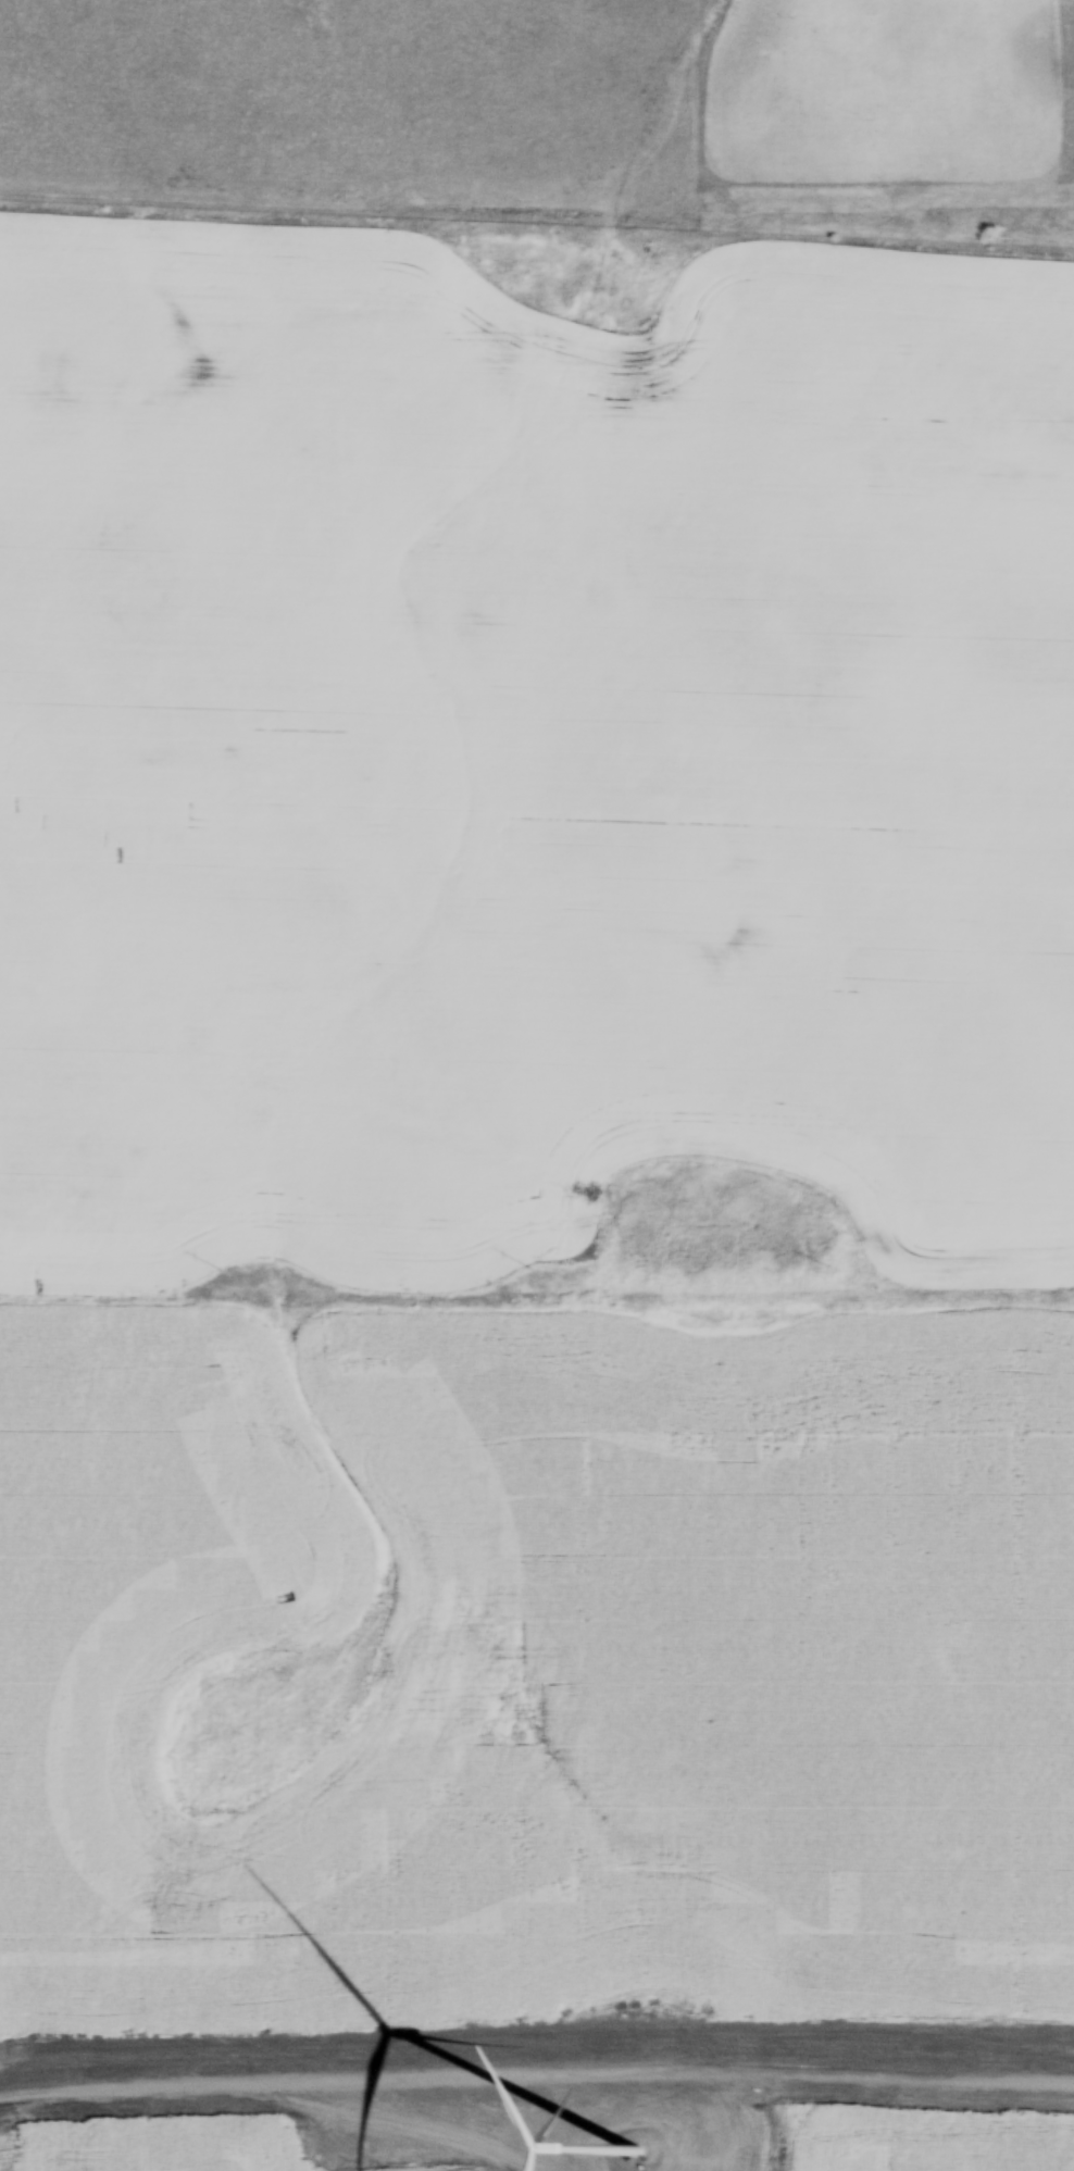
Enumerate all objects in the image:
wind turbine: (624, 2142)

